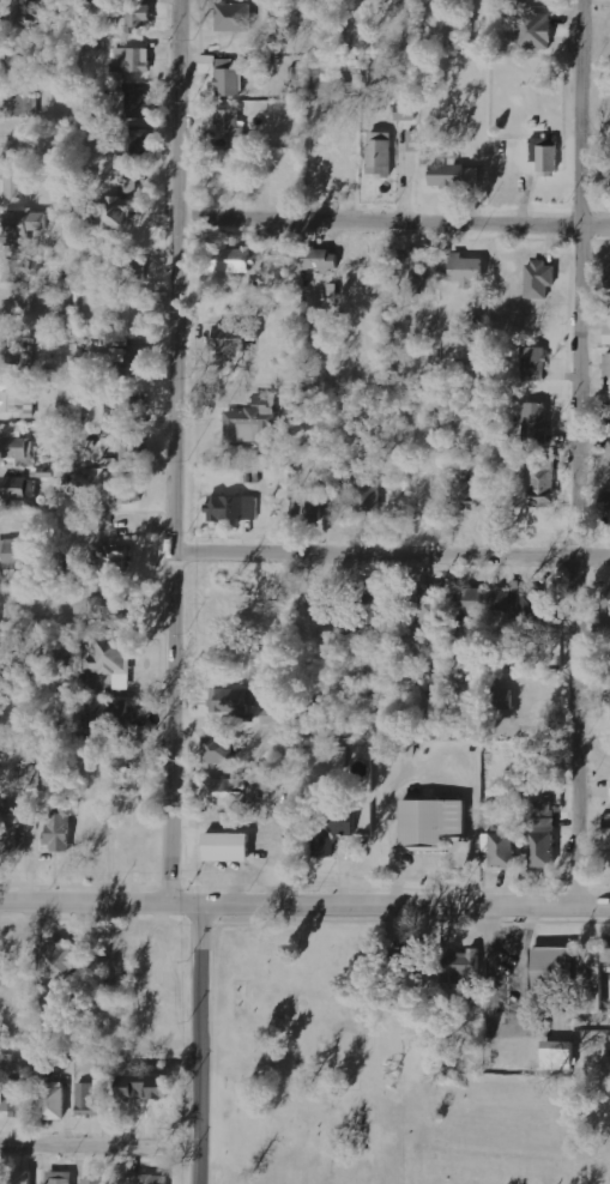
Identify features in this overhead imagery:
building: (19, 17)
building: (236, 17)
building: (534, 29)
building: (19, 55)
building: (132, 61)
building: (224, 74)
building: (332, 90)
building: (132, 105)
building: (22, 107)
building: (232, 127)
building: (129, 143)
building: (381, 153)
building: (546, 156)
building: (454, 175)
building: (13, 186)
building: (115, 213)
building: (25, 223)
road: (389, 223)
building: (322, 259)
building: (235, 260)
building: (278, 262)
building: (14, 267)
building: (133, 268)
building: (415, 268)
building: (467, 270)
building: (609, 276)
building: (540, 279)
building: (608, 334)
building: (232, 337)
building: (18, 356)
building: (132, 361)
building: (534, 363)
building: (608, 366)
building: (19, 401)
building: (126, 403)
building: (253, 423)
building: (536, 423)
building: (16, 446)
building: (127, 446)
road: (171, 452)
road: (575, 454)
building: (543, 485)
building: (19, 489)
building: (127, 490)
building: (363, 495)
building: (467, 495)
building: (310, 503)
building: (231, 508)
building: (17, 555)
road: (391, 555)
building: (505, 598)
building: (471, 600)
building: (370, 606)
building: (428, 606)
building: (537, 615)
building: (111, 656)
building: (501, 699)
building: (231, 700)
building: (113, 715)
building: (271, 715)
building: (219, 750)
building: (338, 755)
building: (230, 792)
building: (431, 822)
building: (60, 827)
building: (10, 834)
building: (332, 834)
building: (544, 834)
building: (605, 839)
building: (229, 847)
building: (503, 848)
road: (304, 906)
building: (59, 961)
building: (458, 968)
building: (554, 968)
building: (592, 984)
road: (195, 1044)
building: (560, 1055)
park: (368, 1075)
building: (91, 1097)
building: (12, 1099)
building: (55, 1100)
road: (98, 1143)
building: (19, 1177)
building: (61, 1177)
building: (156, 1178)
building: (95, 1180)

